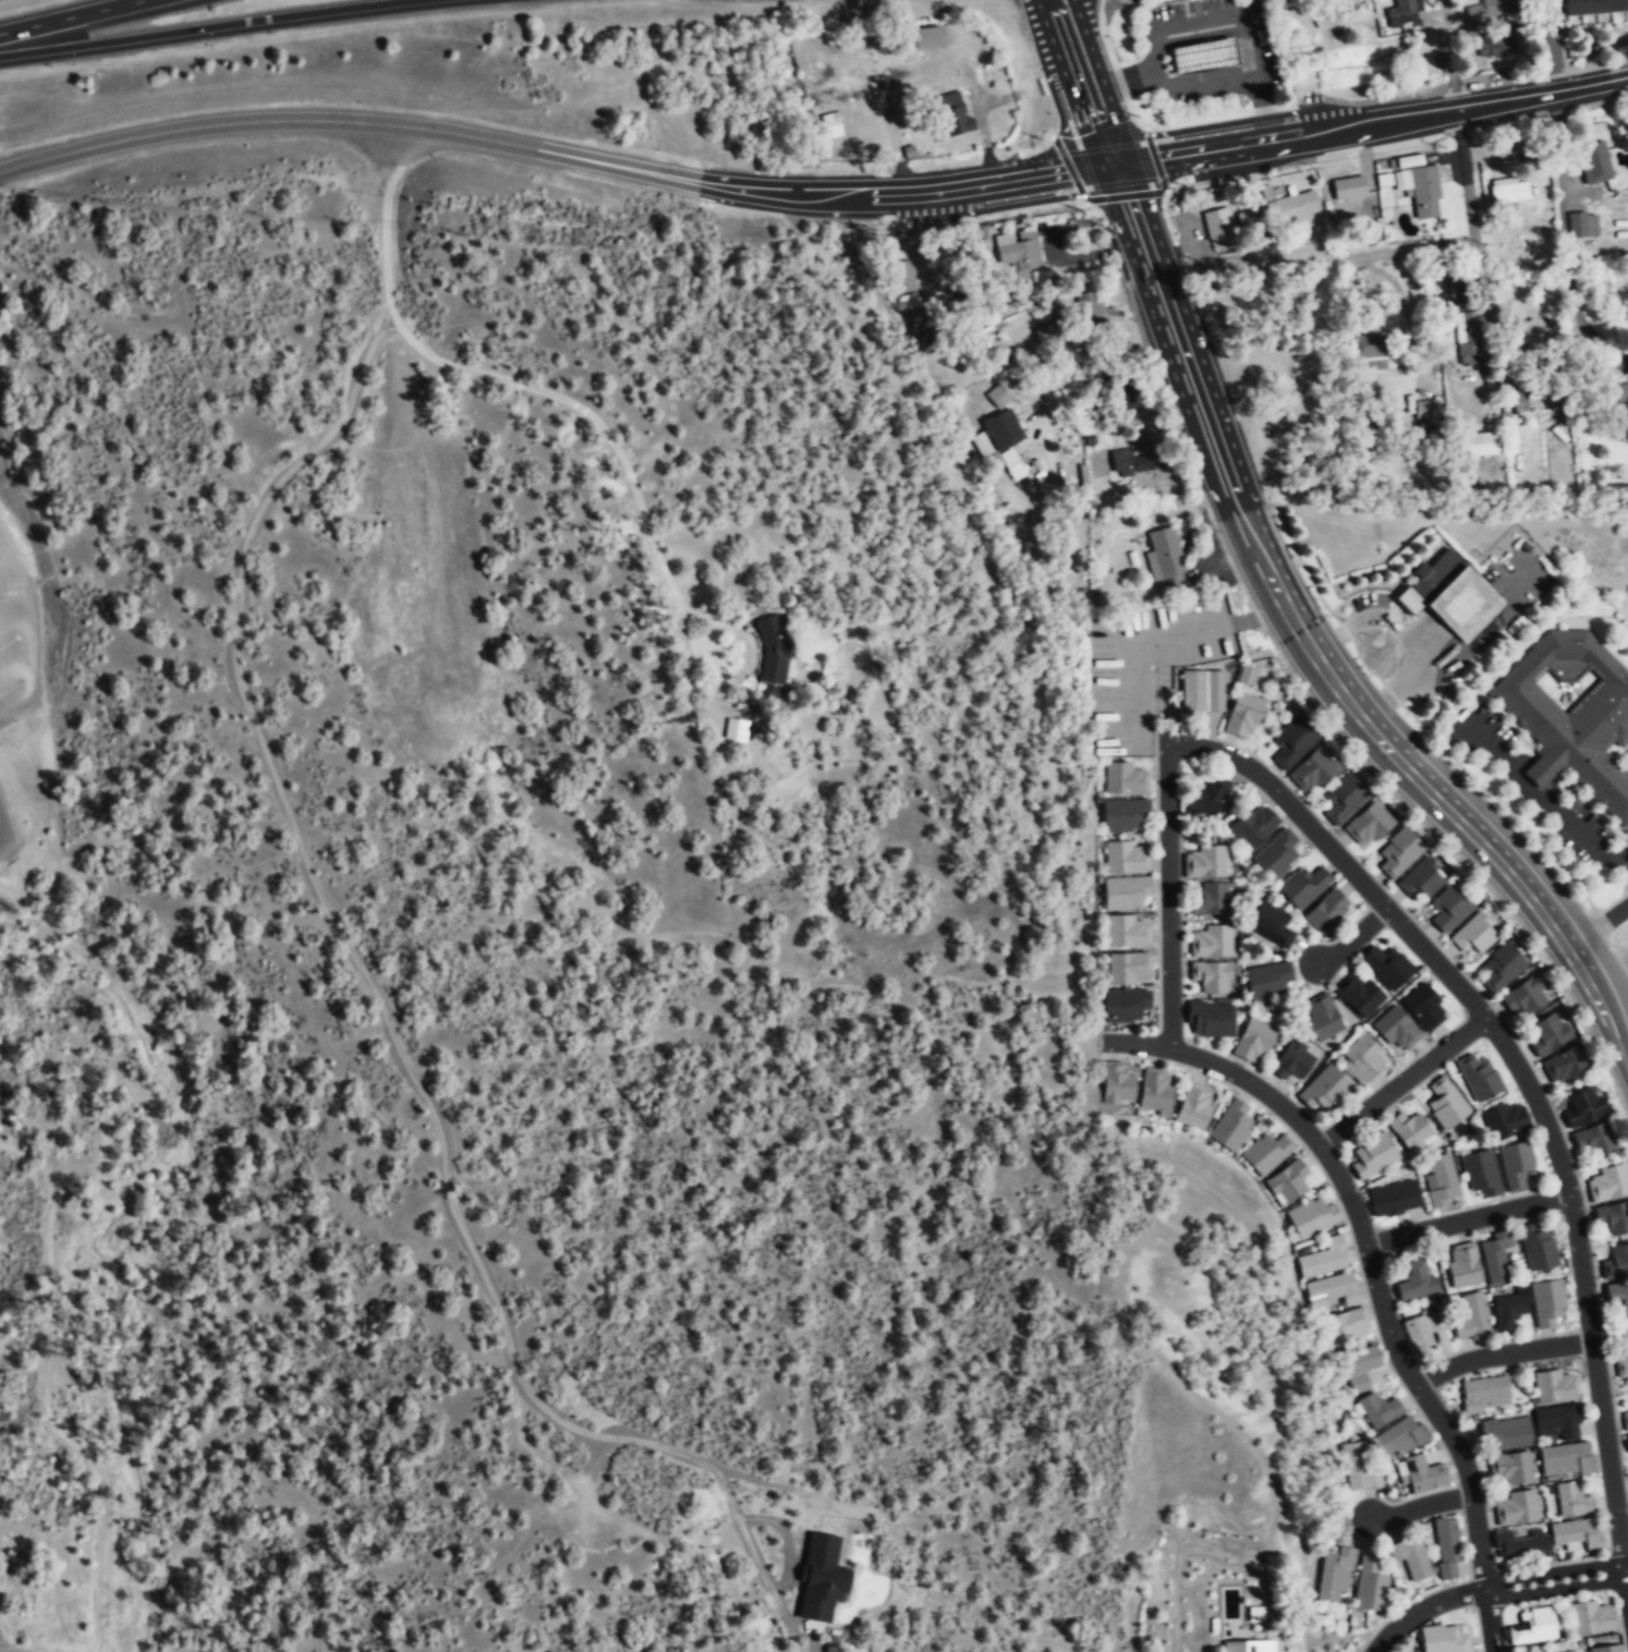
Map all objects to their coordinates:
building: (1155, 0)
building: (1161, 0)
building: (1593, 7)
building: (1487, 10)
road: (1196, 11)
building: (1404, 12)
road: (70, 16)
road: (1084, 20)
road: (206, 27)
road: (1155, 28)
building: (928, 38)
building: (1494, 44)
road: (1551, 47)
parking lot: (1203, 52)
gas station: (1201, 57)
building: (1203, 58)
road: (1105, 65)
road: (1255, 75)
road: (1093, 83)
road: (1064, 89)
road: (1542, 95)
street lamp: (1228, 109)
building: (952, 114)
road: (1212, 116)
building: (833, 123)
road: (194, 126)
road: (1313, 130)
road: (1141, 156)
road: (387, 159)
road: (1144, 159)
building: (1594, 162)
traffic signals: (1111, 168)
road: (688, 180)
road: (1049, 181)
building: (1508, 189)
building: (1350, 190)
building: (1424, 193)
road: (1125, 199)
building: (1295, 207)
building: (1217, 226)
building: (1244, 226)
building: (1581, 227)
road: (1431, 248)
building: (1018, 251)
building: (903, 284)
building: (1462, 289)
building: (1095, 308)
building: (1045, 336)
building: (1467, 339)
building: (1535, 339)
building: (1373, 344)
building: (1534, 388)
building: (997, 397)
building: (1616, 397)
building: (1123, 398)
road: (554, 399)
building: (1425, 412)
building: (999, 441)
building: (1479, 445)
building: (1128, 464)
building: (1163, 556)
road: (7, 569)
road: (1524, 571)
building: (1453, 593)
road: (16, 604)
road: (1375, 618)
road: (32, 631)
road: (1336, 636)
road: (1474, 637)
parking lot: (19, 644)
road: (1410, 645)
road: (1312, 653)
building: (772, 656)
road: (15, 659)
building: (1246, 676)
building: (1201, 691)
road: (1387, 696)
building: (1571, 709)
building: (1242, 715)
building: (736, 730)
building: (1291, 743)
building: (1312, 770)
building: (1123, 778)
road: (1536, 795)
building: (1207, 797)
building: (1344, 799)
building: (1122, 814)
building: (1253, 824)
building: (1369, 824)
building: (1398, 851)
building: (1276, 853)
road: (1625, 855)
building: (1125, 857)
building: (1205, 861)
building: (1420, 877)
building: (1302, 885)
building: (1123, 892)
road: (1169, 894)
building: (1211, 899)
building: (1448, 908)
building: (1326, 912)
building: (1269, 923)
road: (1595, 924)
building: (1126, 931)
building: (1473, 933)
road: (1352, 937)
building: (1211, 940)
building: (1387, 964)
building: (1501, 965)
building: (1127, 968)
building: (1211, 975)
building: (1267, 979)
building: (1359, 994)
building: (1524, 995)
building: (1122, 1005)
building: (1422, 1005)
building: (1321, 1016)
building: (1210, 1018)
building: (1396, 1027)
building: (1547, 1033)
building: (1253, 1038)
building: (1362, 1058)
building: (1291, 1059)
building: (1565, 1065)
building: (1479, 1077)
road: (1524, 1079)
road: (1401, 1081)
building: (1116, 1082)
building: (1324, 1088)
building: (1154, 1089)
building: (1445, 1103)
building: (1193, 1105)
building: (1583, 1107)
building: (1504, 1119)
building: (1230, 1125)
building: (1410, 1130)
building: (1595, 1138)
building: (1266, 1152)
building: (1373, 1154)
building: (1516, 1164)
building: (1482, 1171)
building: (1287, 1180)
building: (1442, 1180)
building: (1607, 1182)
building: (1393, 1198)
building: (1311, 1216)
building: (1613, 1216)
road: (1467, 1219)
building: (1536, 1247)
road: (1366, 1252)
road: (475, 1254)
building: (1495, 1255)
building: (1325, 1256)
building: (1616, 1262)
building: (1462, 1265)
building: (1414, 1279)
building: (1335, 1290)
building: (1617, 1297)
building: (1546, 1301)
building: (1508, 1310)
building: (1472, 1317)
building: (1435, 1321)
building: (1346, 1324)
building: (1620, 1329)
building: (1418, 1335)
building: (1625, 1347)
road: (1502, 1353)
building: (1359, 1366)
building: (1621, 1368)
building: (1554, 1386)
building: (1483, 1393)
building: (1377, 1409)
building: (1557, 1421)
building: (1625, 1421)
building: (1506, 1433)
building: (1400, 1436)
building: (1627, 1440)
building: (1568, 1456)
building: (1360, 1466)
building: (1510, 1467)
building: (1422, 1473)
building: (1572, 1501)
road: (1421, 1507)
building: (1517, 1508)
building: (1577, 1533)
building: (1447, 1546)
building: (1520, 1546)
building: (1410, 1557)
road: (1626, 1569)
building: (1336, 1571)
building: (823, 1579)
road: (1555, 1580)
road: (1626, 1582)
building: (1369, 1584)
road: (1422, 1607)
building: (1255, 1614)
building: (1590, 1617)
road: (1492, 1620)
building: (1533, 1626)
building: (1444, 1639)
building: (1248, 1645)
building: (1606, 1648)
road: (45, 1650)

